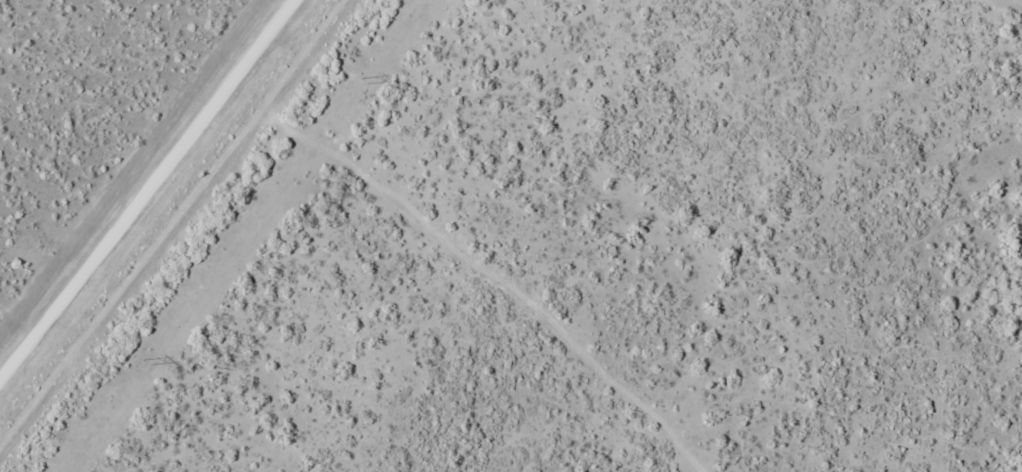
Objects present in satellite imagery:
power tower: (366, 80)
power tower: (147, 362)

